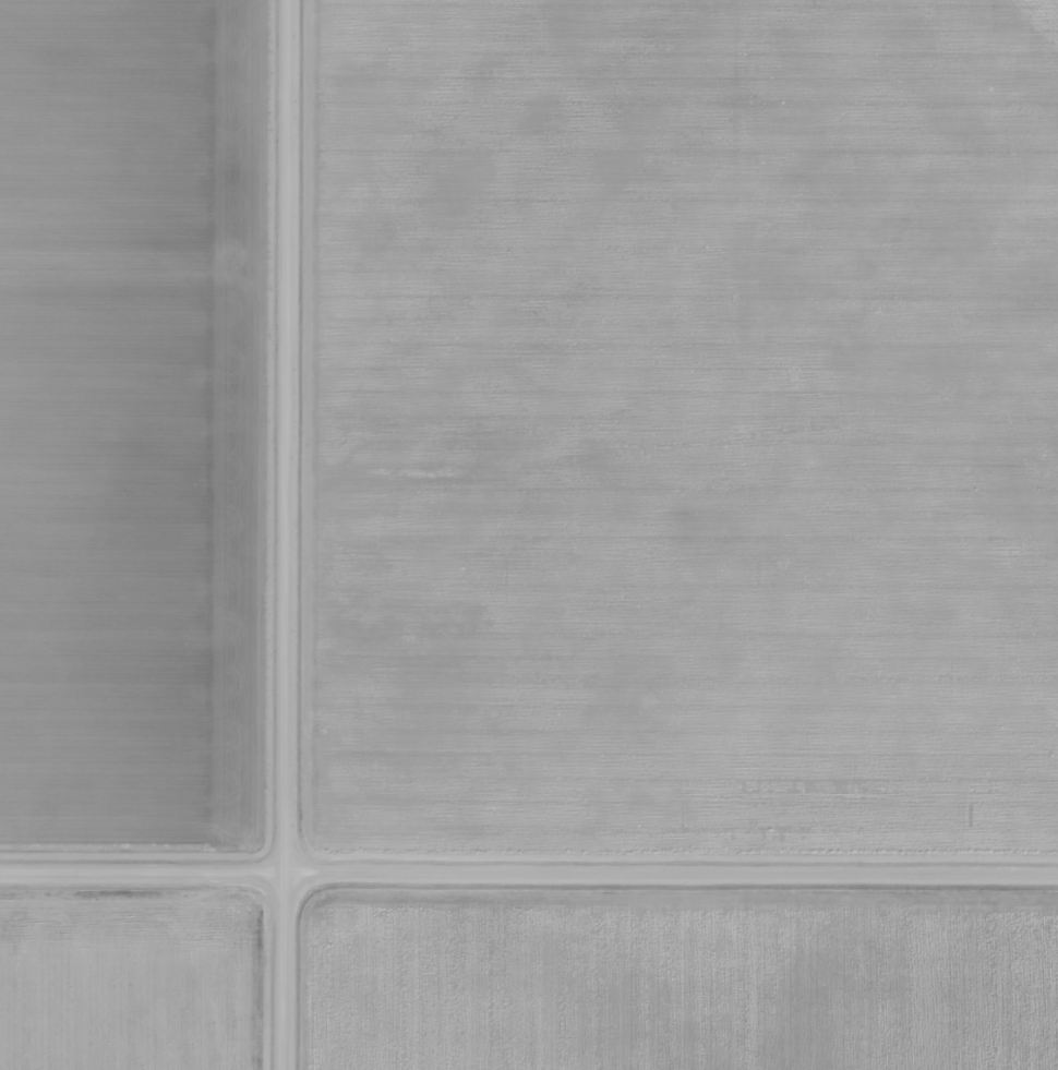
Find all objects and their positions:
road: (297, 534)
road: (528, 862)

